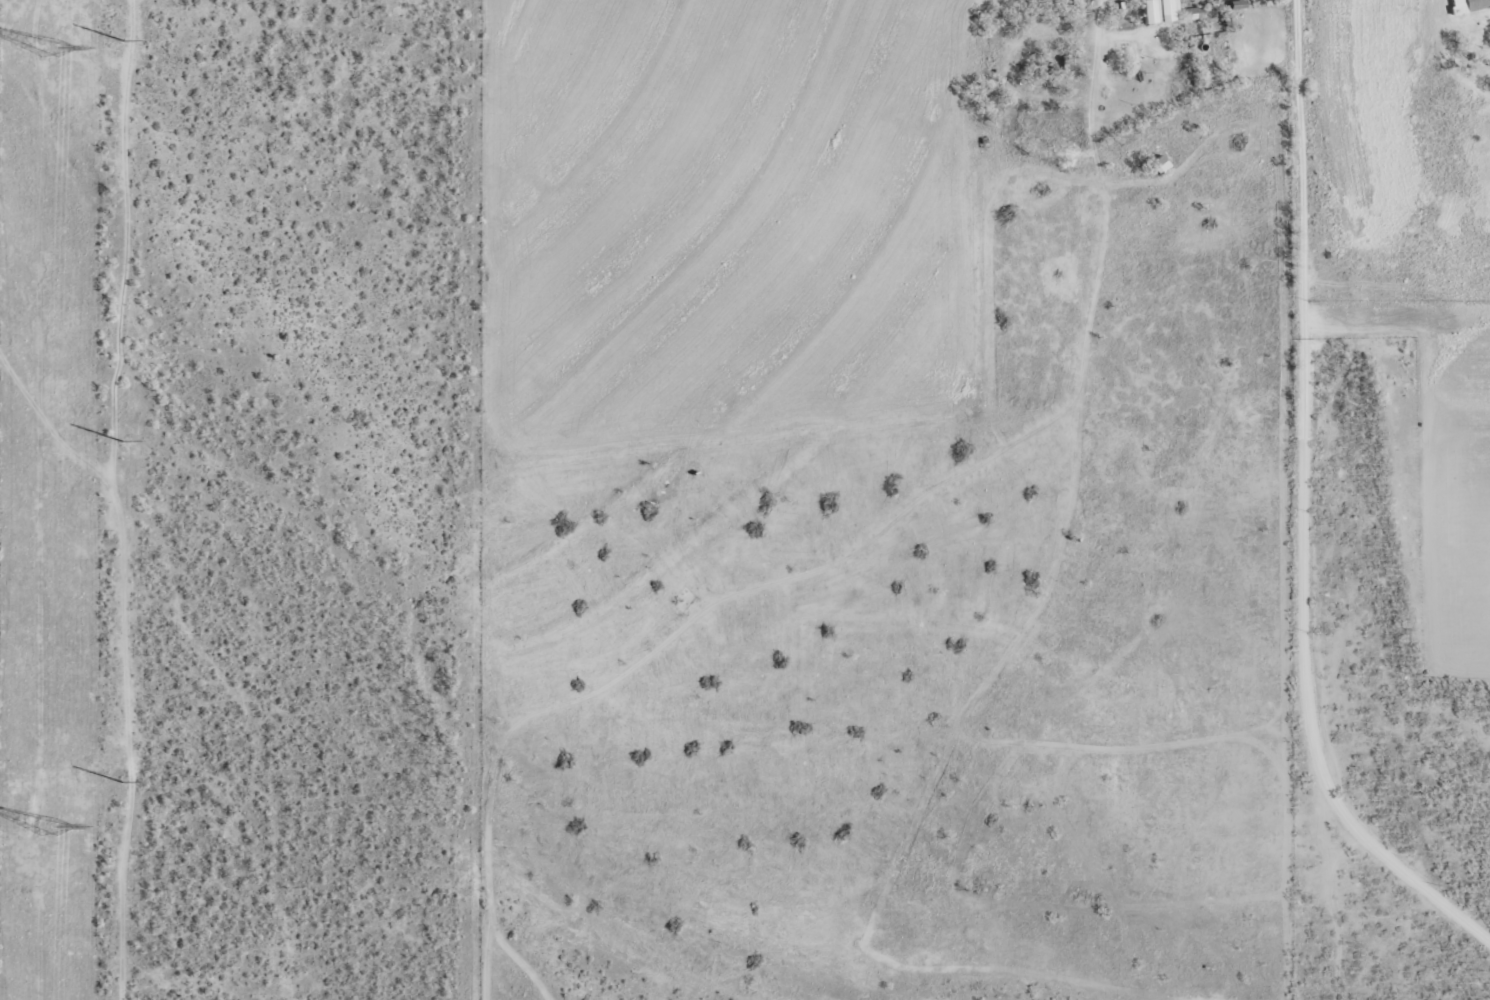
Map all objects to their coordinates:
building: (1466, 5)
building: (1161, 10)
power tower: (121, 40)
power tower: (53, 47)
power tower: (120, 440)
road: (226, 645)
power tower: (120, 781)
power tower: (51, 824)

